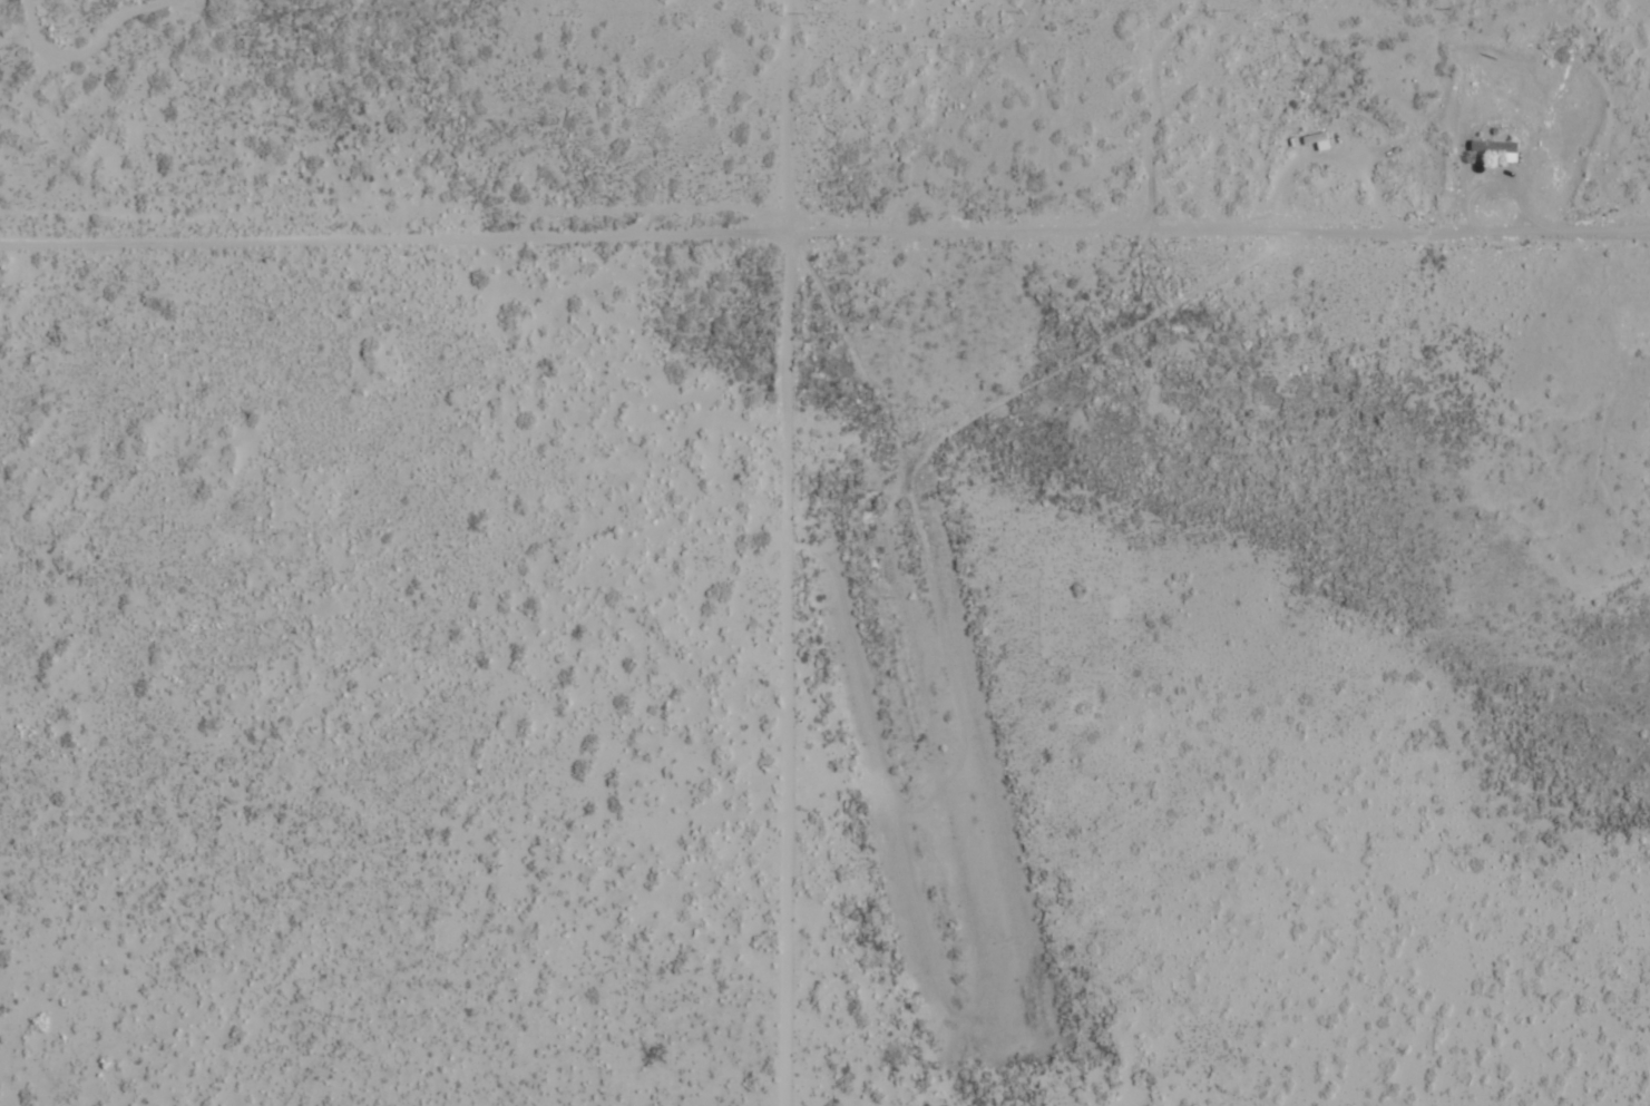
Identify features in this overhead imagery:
road: (91, 48)
road: (787, 117)
road: (824, 234)
road: (784, 671)
road: (979, 770)

